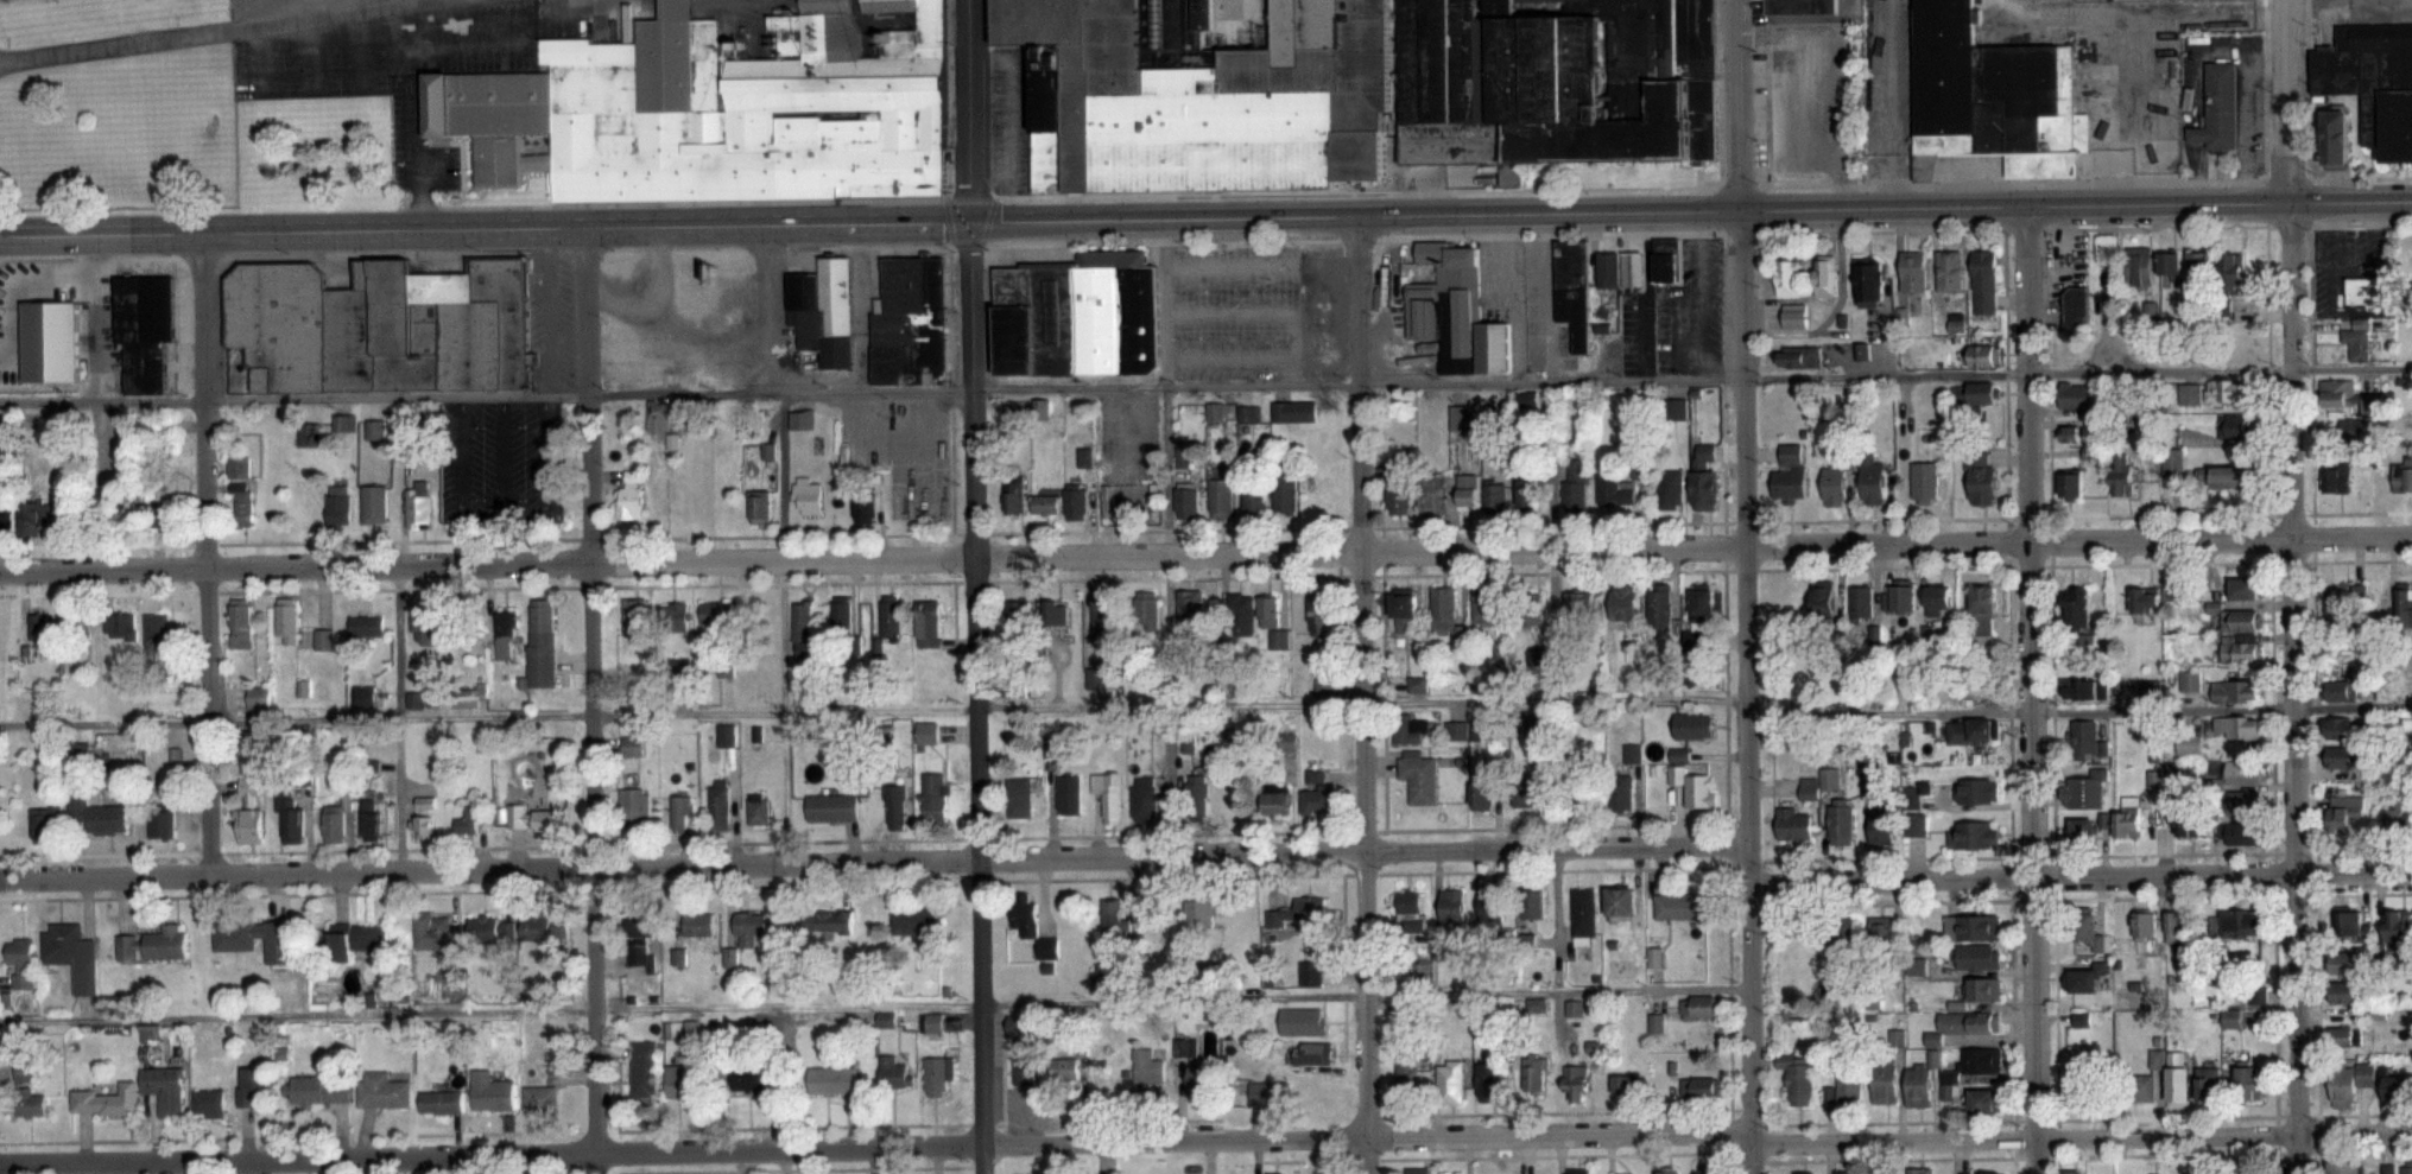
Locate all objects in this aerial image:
road: (2311, 1)
building: (1796, 5)
road: (2049, 12)
road: (208, 30)
building: (1555, 80)
building: (2373, 82)
building: (1198, 95)
building: (1990, 95)
road: (1898, 103)
building: (2216, 107)
road: (967, 109)
building: (713, 112)
building: (2336, 139)
road: (1702, 185)
road: (967, 197)
road: (1205, 217)
traffic signals: (966, 220)
road: (983, 220)
road: (945, 221)
road: (1620, 234)
building: (1663, 259)
building: (2199, 262)
building: (1949, 264)
building: (2170, 265)
building: (1604, 268)
building: (1628, 268)
building: (2140, 268)
building: (1912, 271)
building: (2231, 271)
building: (1827, 273)
building: (1790, 278)
building: (1868, 280)
building: (1983, 281)
building: (1569, 288)
road: (17, 290)
building: (2363, 290)
road: (1762, 304)
building: (2072, 305)
building: (819, 309)
road: (549, 311)
building: (1452, 312)
building: (1794, 315)
building: (1074, 316)
road: (90, 319)
building: (906, 323)
building: (372, 326)
building: (141, 329)
building: (2357, 339)
building: (48, 341)
building: (1984, 354)
building: (1798, 356)
road: (1205, 385)
road: (949, 388)
building: (2228, 389)
building: (2337, 392)
building: (1982, 393)
building: (2190, 393)
building: (2076, 395)
building: (1525, 399)
building: (1214, 411)
building: (1294, 411)
building: (1248, 413)
building: (658, 415)
building: (1461, 418)
building: (800, 419)
building: (346, 423)
building: (2233, 427)
building: (2354, 429)
building: (373, 430)
parking lot: (496, 459)
building: (2172, 459)
building: (239, 465)
road: (540, 474)
building: (2120, 475)
building: (1703, 476)
building: (1790, 476)
building: (2229, 476)
building: (2338, 478)
building: (1981, 480)
building: (2071, 483)
building: (1872, 484)
building: (1834, 486)
building: (1467, 489)
building: (1614, 489)
building: (1671, 489)
building: (1525, 493)
building: (1574, 493)
building: (629, 494)
building: (806, 494)
building: (1285, 494)
building: (1398, 494)
building: (1430, 494)
building: (1220, 495)
building: (1494, 495)
building: (1014, 496)
building: (1255, 497)
building: (1186, 499)
building: (1076, 502)
building: (417, 503)
building: (1046, 503)
building: (243, 504)
building: (373, 504)
building: (337, 506)
building: (759, 506)
building: (863, 509)
building: (6, 510)
building: (36, 512)
road: (479, 512)
road: (1205, 528)
road: (1167, 537)
road: (784, 542)
road: (1205, 552)
road: (205, 554)
road: (1205, 576)
road: (1743, 586)
road: (2293, 586)
building: (2245, 588)
building: (1903, 595)
building: (1822, 598)
building: (1937, 599)
building: (1983, 599)
building: (2145, 599)
road: (1552, 602)
building: (1622, 602)
building: (1701, 603)
building: (1860, 603)
building: (2404, 603)
building: (1577, 604)
building: (1659, 605)
building: (2337, 605)
building: (1484, 607)
building: (2076, 607)
building: (1189, 608)
building: (1146, 609)
building: (1526, 609)
building: (1442, 610)
building: (715, 611)
building: (840, 611)
building: (1318, 611)
building: (1017, 613)
building: (1404, 613)
building: (1057, 614)
building: (1239, 614)
building: (1102, 615)
building: (673, 616)
building: (890, 617)
building: (286, 618)
building: (634, 618)
building: (2241, 620)
building: (1272, 621)
building: (240, 622)
building: (422, 623)
building: (802, 623)
building: (928, 623)
building: (119, 624)
building: (37, 626)
building: (363, 626)
road: (1337, 633)
building: (505, 634)
building: (156, 636)
building: (322, 639)
building: (540, 643)
building: (2241, 648)
road: (1380, 677)
building: (2189, 680)
building: (2084, 687)
road: (2030, 688)
building: (2148, 688)
building: (2234, 690)
building: (2340, 690)
road: (1359, 694)
building: (363, 696)
road: (973, 696)
road: (588, 699)
road: (2268, 699)
road: (2311, 699)
road: (2006, 700)
road: (2049, 700)
road: (1207, 703)
road: (1723, 703)
road: (400, 717)
building: (1692, 725)
building: (2235, 726)
building: (2342, 728)
building: (1410, 729)
building: (1455, 729)
building: (1970, 731)
building: (926, 732)
building: (726, 735)
building: (2084, 738)
building: (1289, 742)
building: (632, 745)
building: (1632, 751)
building: (2338, 757)
building: (2246, 772)
building: (1418, 775)
building: (1698, 789)
building: (1806, 789)
building: (2083, 789)
building: (1196, 791)
building: (1621, 792)
building: (1068, 793)
building: (1530, 793)
building: (1020, 794)
building: (1107, 794)
building: (1317, 795)
building: (1480, 795)
building: (935, 797)
building: (1144, 798)
building: (718, 802)
building: (895, 802)
building: (1274, 802)
building: (2242, 804)
building: (831, 807)
building: (633, 808)
building: (758, 808)
building: (680, 811)
building: (2343, 812)
building: (1917, 814)
building: (97, 816)
building: (2127, 816)
building: (515, 817)
building: (2397, 817)
building: (162, 820)
building: (249, 820)
building: (369, 820)
building: (468, 820)
building: (545, 820)
building: (42, 821)
building: (290, 821)
building: (1840, 824)
building: (1794, 825)
building: (333, 826)
building: (422, 826)
building: (1880, 827)
building: (2083, 829)
building: (2242, 833)
building: (1975, 836)
road: (862, 839)
road: (2087, 853)
road: (879, 861)
road: (1350, 872)
road: (2077, 876)
road: (391, 890)
road: (2085, 897)
building: (1492, 901)
building: (1532, 902)
building: (1451, 903)
building: (1623, 903)
building: (1680, 906)
building: (1408, 909)
building: (1199, 913)
building: (1299, 913)
building: (1114, 916)
building: (1582, 916)
building: (827, 920)
building: (1026, 920)
building: (916, 921)
building: (697, 922)
building: (2239, 922)
building: (642, 924)
building: (2356, 925)
building: (2176, 926)
building: (2395, 927)
building: (540, 928)
building: (1973, 928)
building: (2087, 928)
building: (748, 929)
building: (490, 931)
building: (2145, 931)
building: (1881, 932)
building: (243, 933)
building: (436, 933)
building: (357, 937)
building: (1842, 938)
building: (159, 943)
building: (640, 953)
building: (71, 954)
building: (1979, 958)
building: (21, 960)
building: (2344, 963)
building: (1619, 966)
building: (1310, 973)
building: (2084, 981)
building: (2255, 989)
building: (1982, 990)
building: (2343, 994)
road: (875, 1003)
building: (1697, 1007)
building: (1303, 1020)
building: (931, 1022)
building: (1962, 1027)
building: (2344, 1036)
building: (1023, 1045)
parking lot: (994, 1047)
building: (1313, 1052)
building: (1190, 1062)
building: (1981, 1062)
building: (1144, 1064)
road: (614, 1067)
building: (1065, 1067)
building: (642, 1068)
building: (893, 1073)
building: (1406, 1073)
building: (1534, 1074)
building: (937, 1077)
building: (2084, 1079)
building: (682, 1080)
building: (748, 1080)
building: (833, 1080)
building: (257, 1081)
building: (1450, 1081)
building: (1488, 1081)
building: (1797, 1081)
building: (1575, 1083)
building: (1626, 1083)
building: (1884, 1083)
building: (2208, 1083)
building: (2249, 1083)
building: (2349, 1084)
building: (1918, 1085)
building: (1847, 1086)
building: (2177, 1086)
building: (1699, 1087)
building: (2139, 1087)
building: (2398, 1087)
building: (165, 1090)
building: (317, 1091)
building: (381, 1091)
building: (489, 1092)
building: (1267, 1092)
building: (539, 1098)
building: (107, 1102)
building: (209, 1102)
building: (1984, 1102)
building: (441, 1103)
building: (30, 1104)
road: (1023, 1116)
road: (797, 1125)
road: (2081, 1137)
road: (109, 1138)
road: (875, 1144)
road: (1560, 1153)
road: (323, 1165)
building: (2347, 1166)
building: (2407, 1167)
road: (798, 1169)
building: (1417, 1170)
building: (1578, 1170)
building: (1920, 1170)
building: (1667, 1172)
building: (1707, 1172)
building: (2074, 1172)
road: (552, 1173)
road: (616, 1173)
building: (1803, 1173)
building: (1844, 1173)
building: (1982, 1173)

